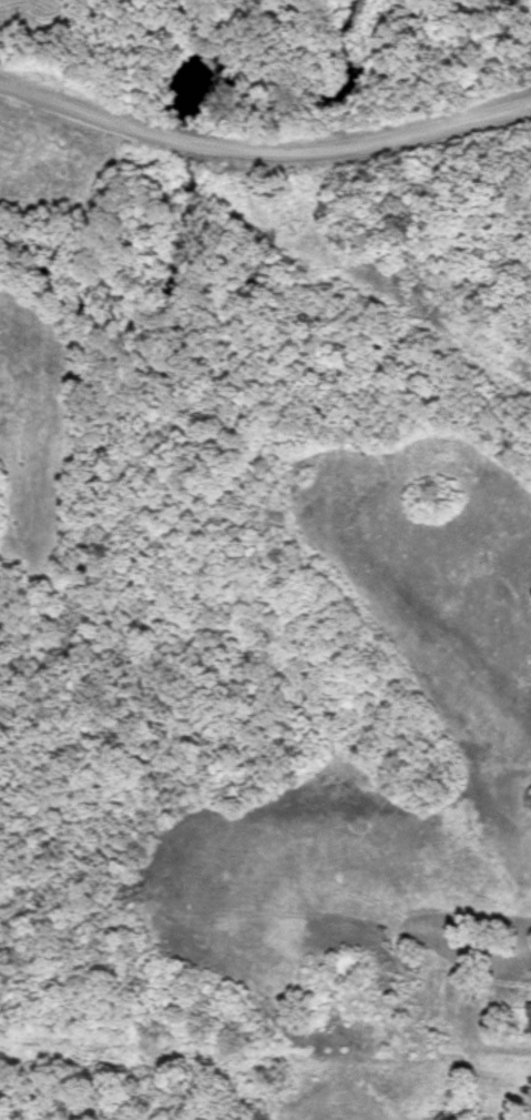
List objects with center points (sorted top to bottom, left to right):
road: (263, 151)
building: (529, 1020)

